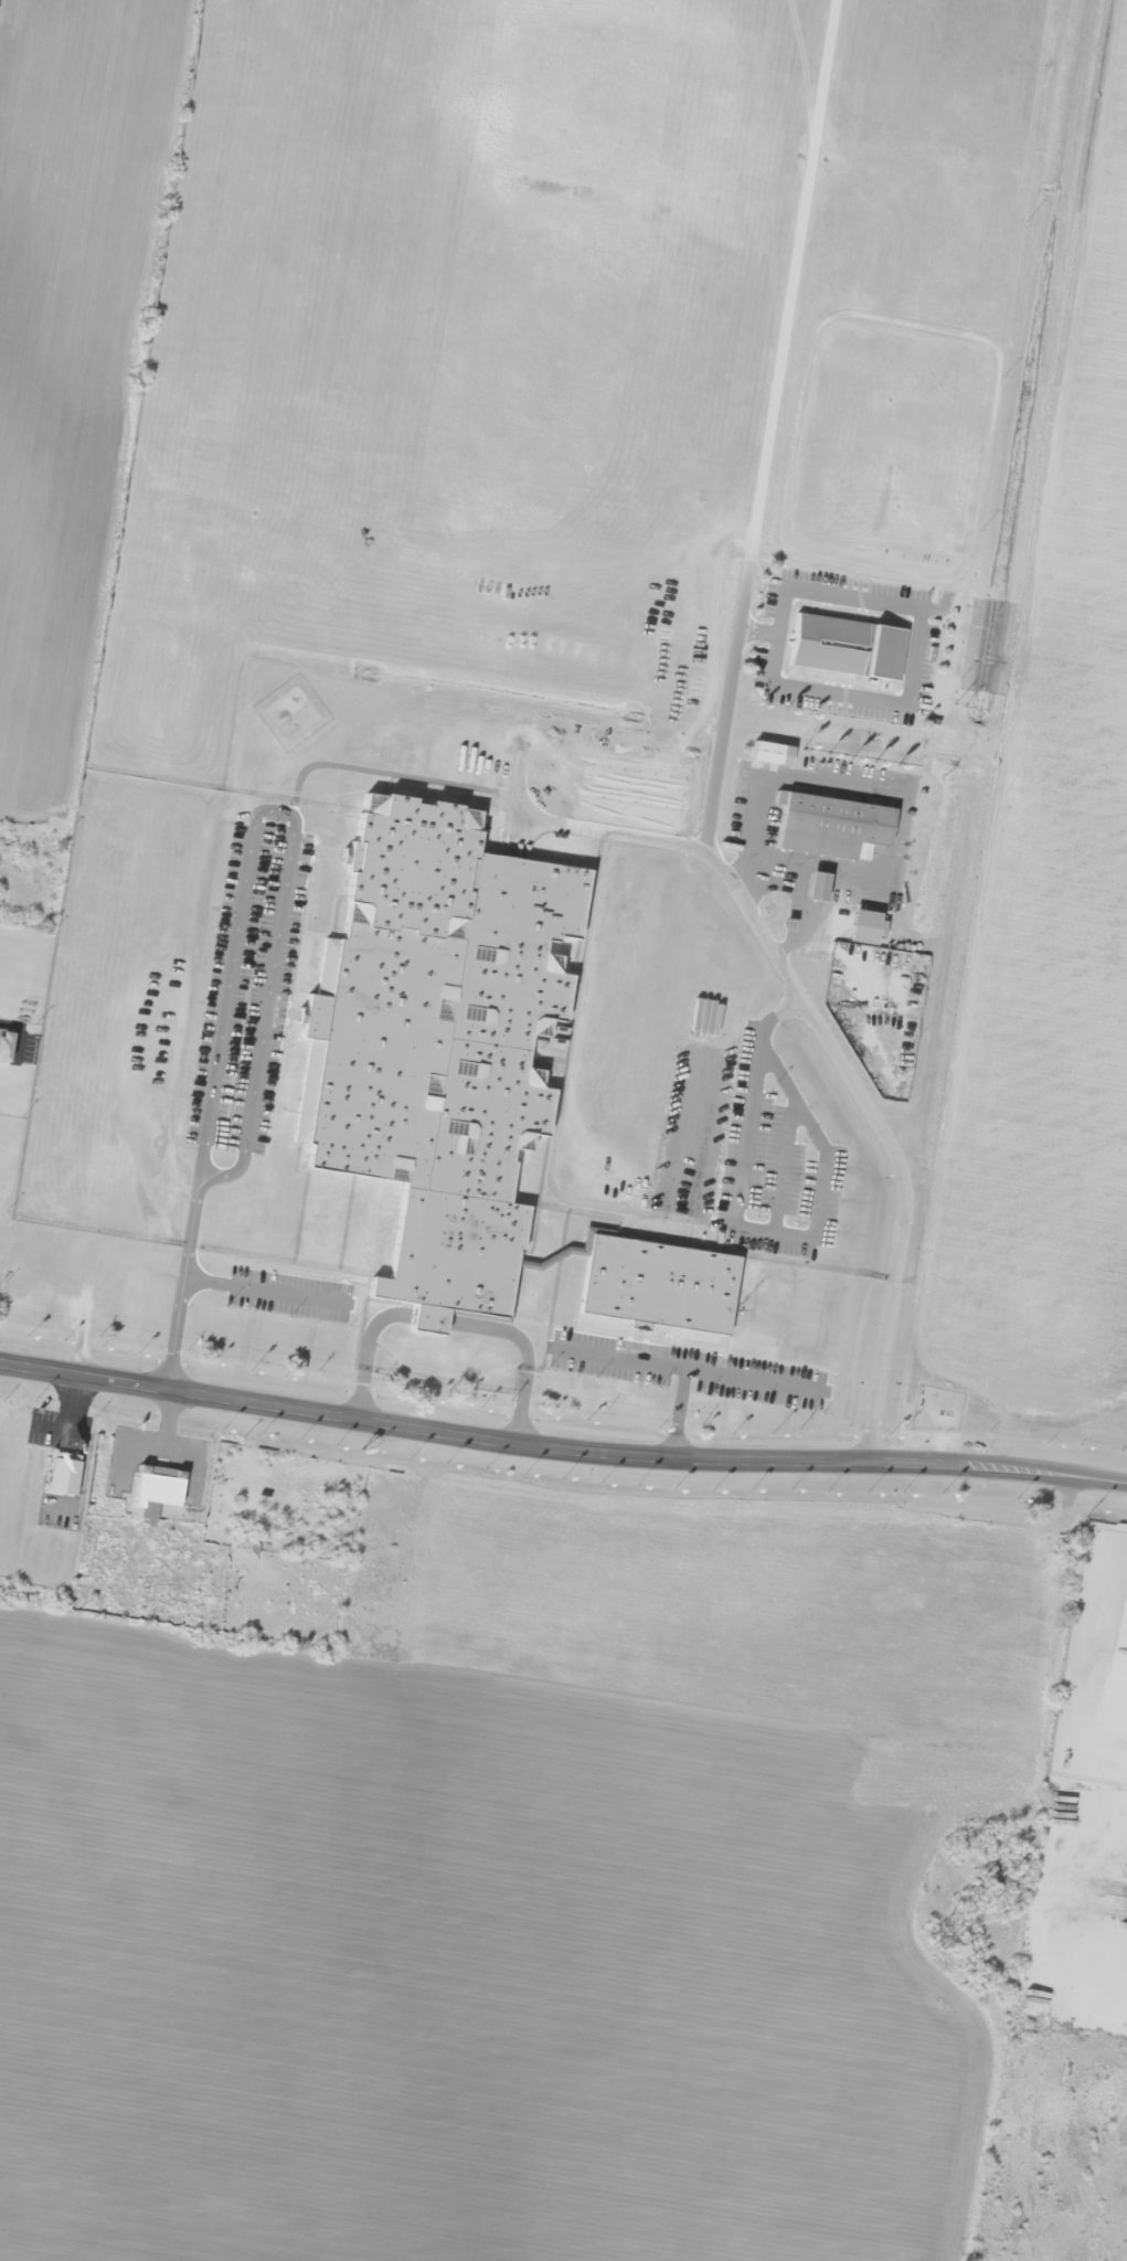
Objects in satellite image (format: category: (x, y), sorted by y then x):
road: (790, 280)
building: (842, 648)
building: (761, 753)
building: (823, 825)
road: (616, 831)
building: (812, 884)
road: (279, 905)
road: (804, 1008)
building: (460, 1079)
road: (264, 1293)
road: (689, 1370)
road: (678, 1413)
road: (560, 1451)
building: (60, 1473)
building: (151, 1492)

